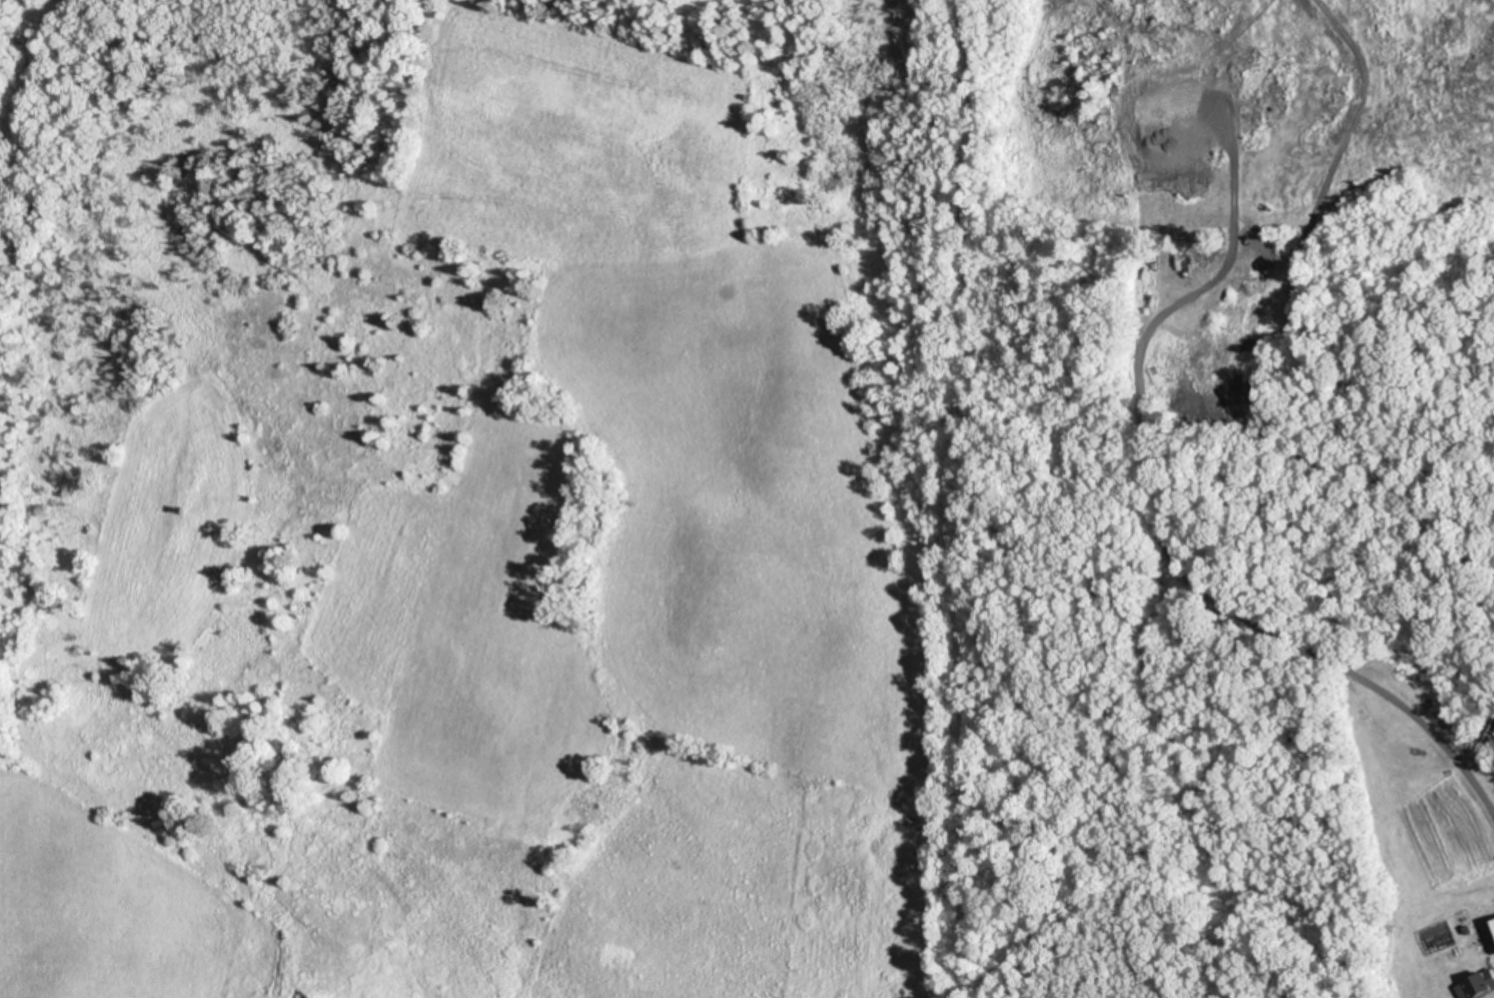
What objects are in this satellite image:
building: (1487, 738)
building: (1492, 927)
building: (1478, 985)

